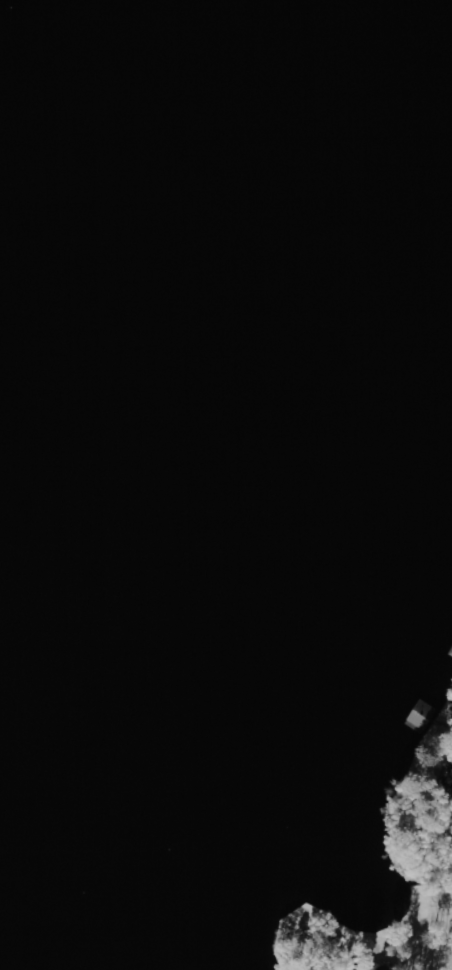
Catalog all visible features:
building: (450, 783)
building: (451, 797)

